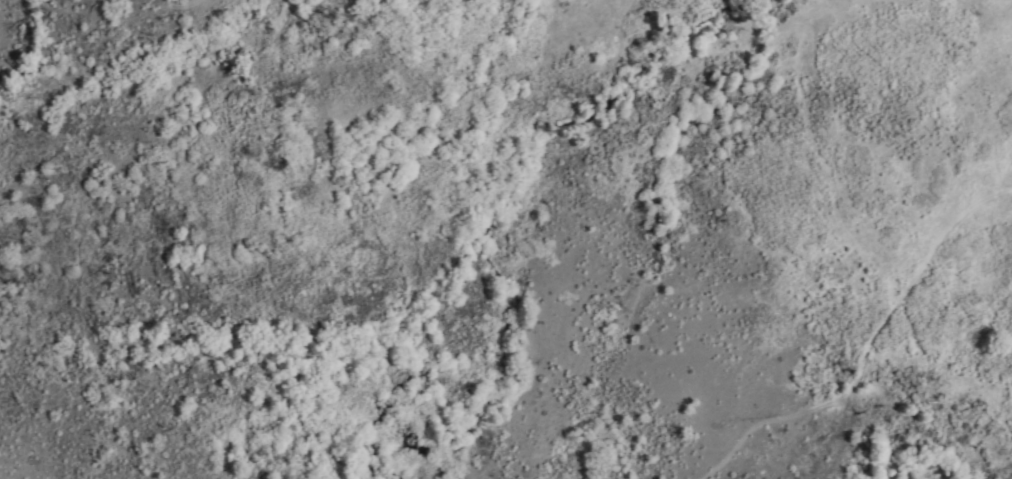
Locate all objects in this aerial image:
road: (932, 237)
road: (939, 367)
road: (801, 419)
road: (1002, 442)

